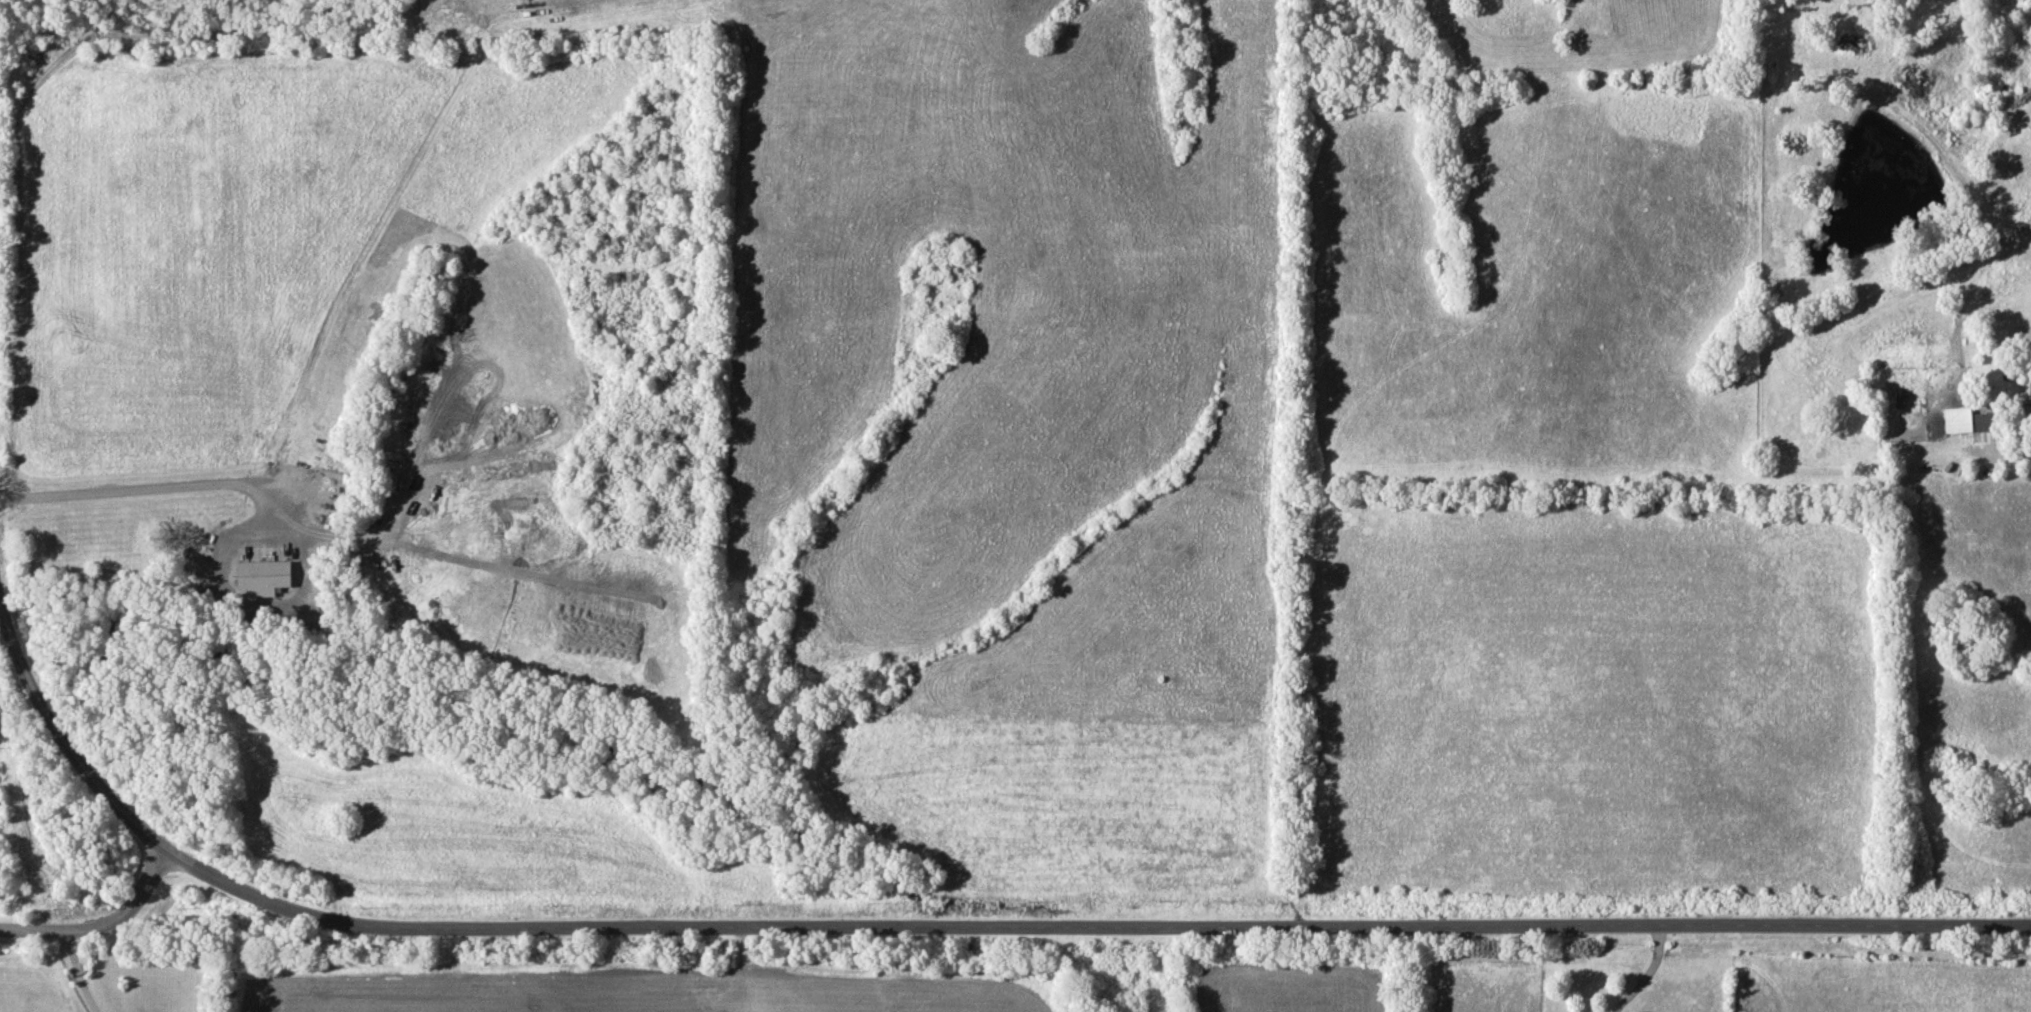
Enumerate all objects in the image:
road: (17, 120)
road: (10, 229)
building: (2030, 388)
building: (1964, 420)
road: (2008, 458)
park: (646, 460)
road: (205, 484)
building: (262, 576)
road: (240, 601)
road: (57, 753)
road: (1091, 927)
road: (102, 930)
road: (1628, 971)
road: (78, 972)
crop: (1289, 987)

